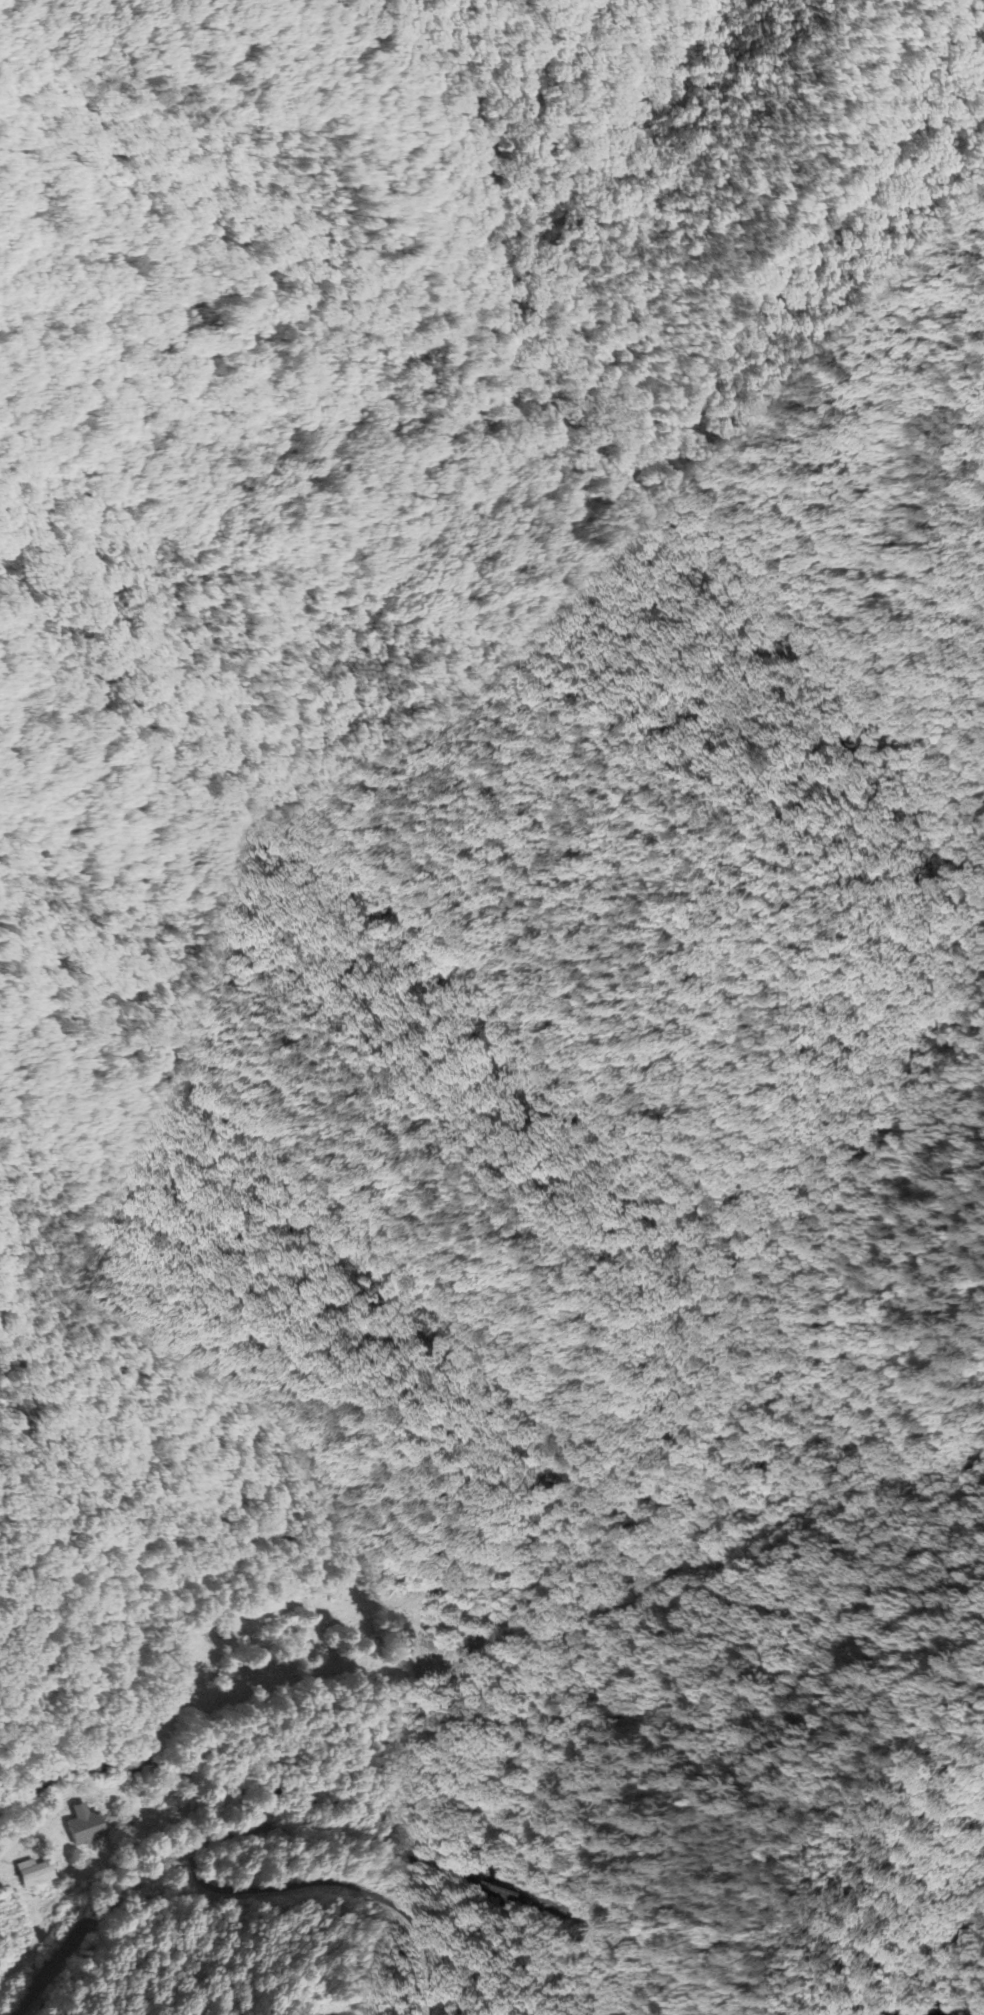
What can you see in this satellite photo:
river: (324, 1801)
building: (85, 1827)
railway: (206, 1841)
building: (35, 1875)
road: (345, 1884)
railway: (497, 1885)
road: (161, 1889)
railway: (573, 1911)
river: (965, 1995)
railway: (877, 2010)
road: (340, 2013)

